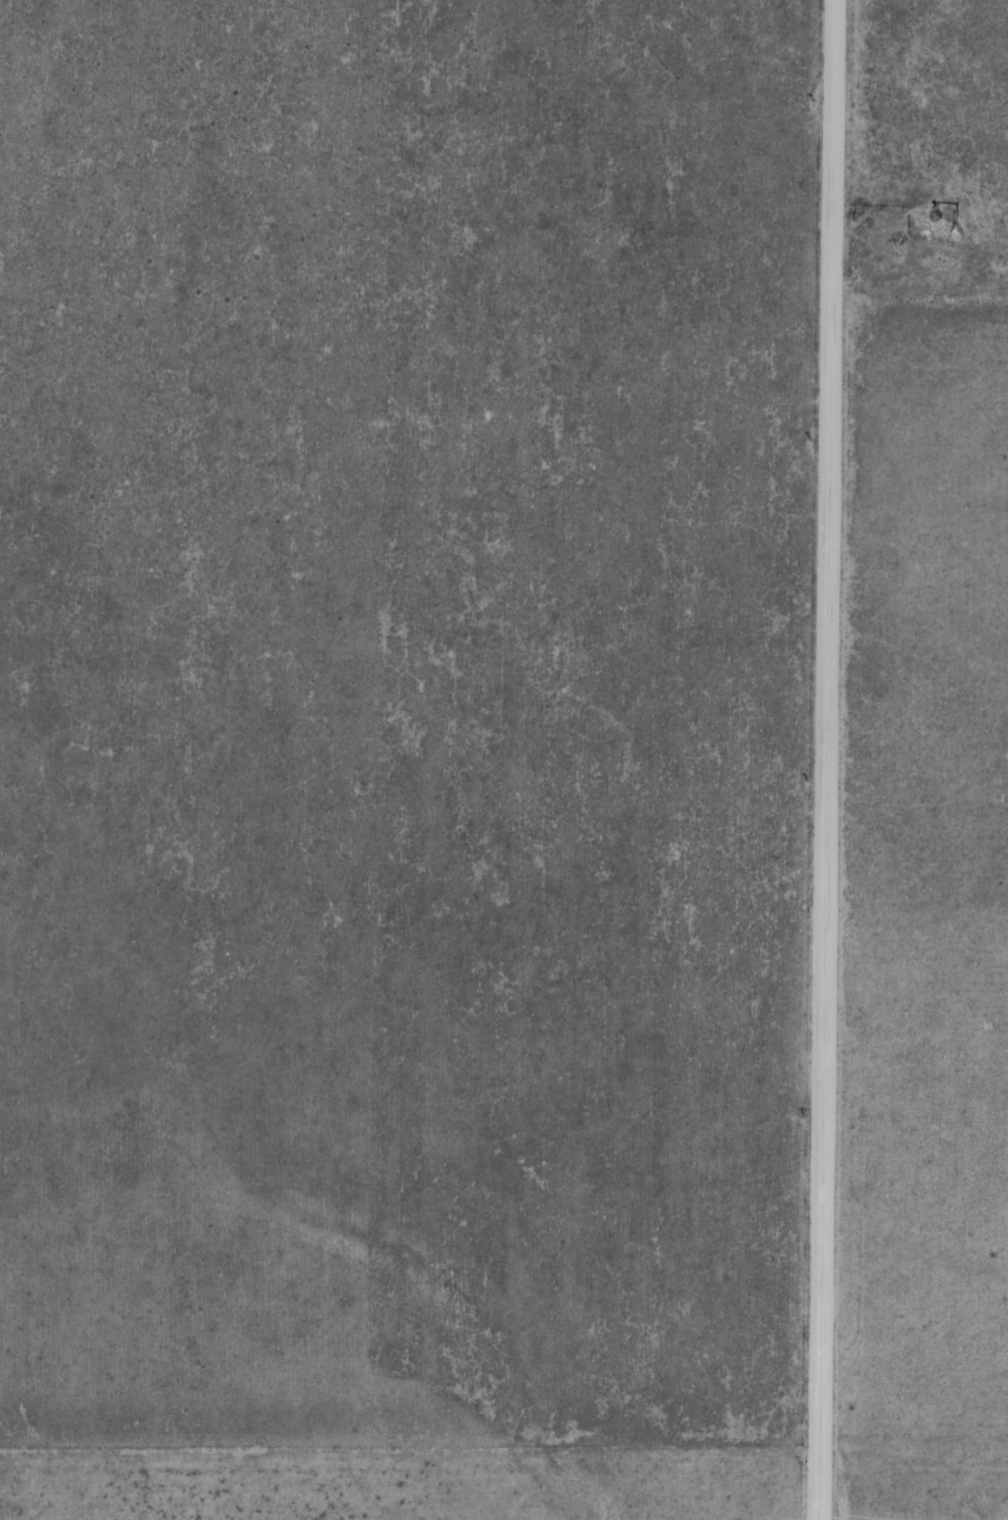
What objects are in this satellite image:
road: (822, 759)

